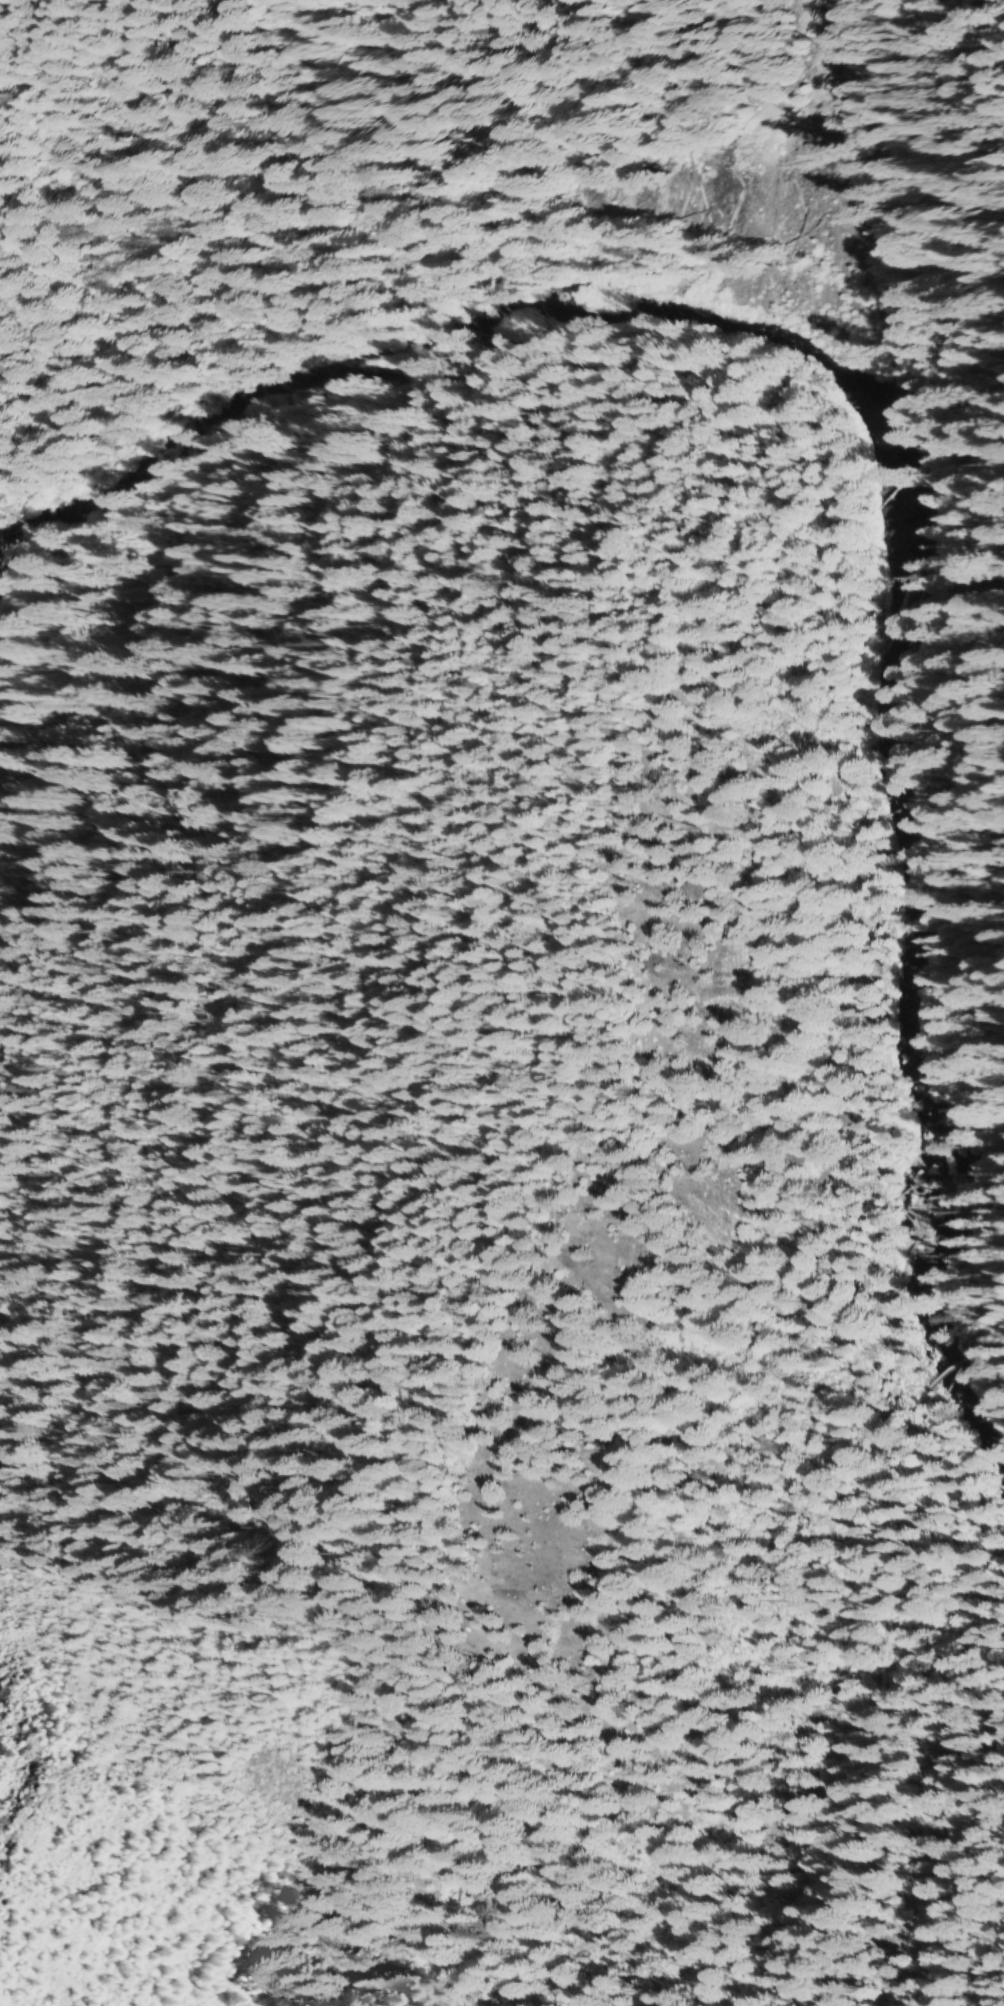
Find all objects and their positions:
river: (881, 461)
road: (797, 471)

